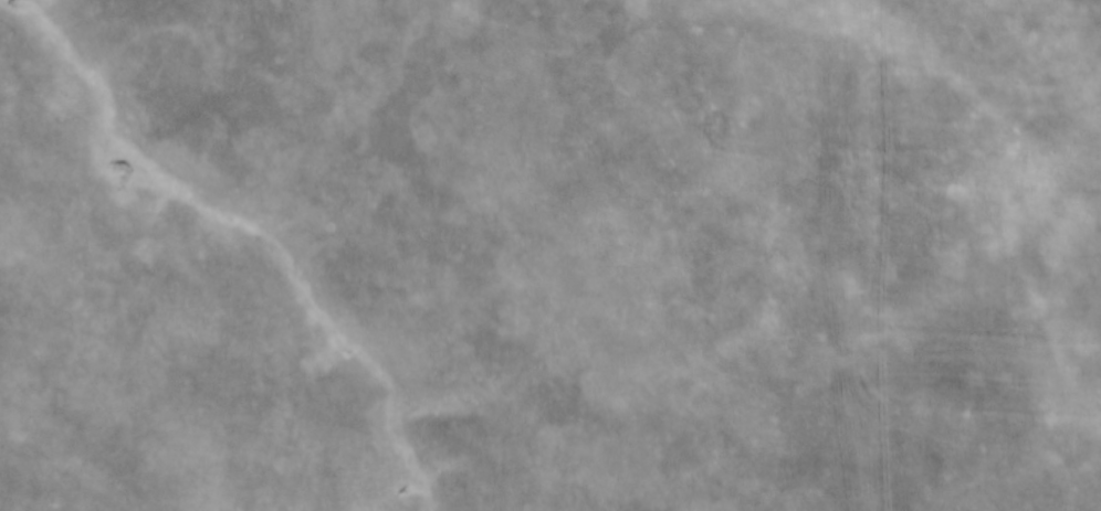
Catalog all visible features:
road: (833, 257)

